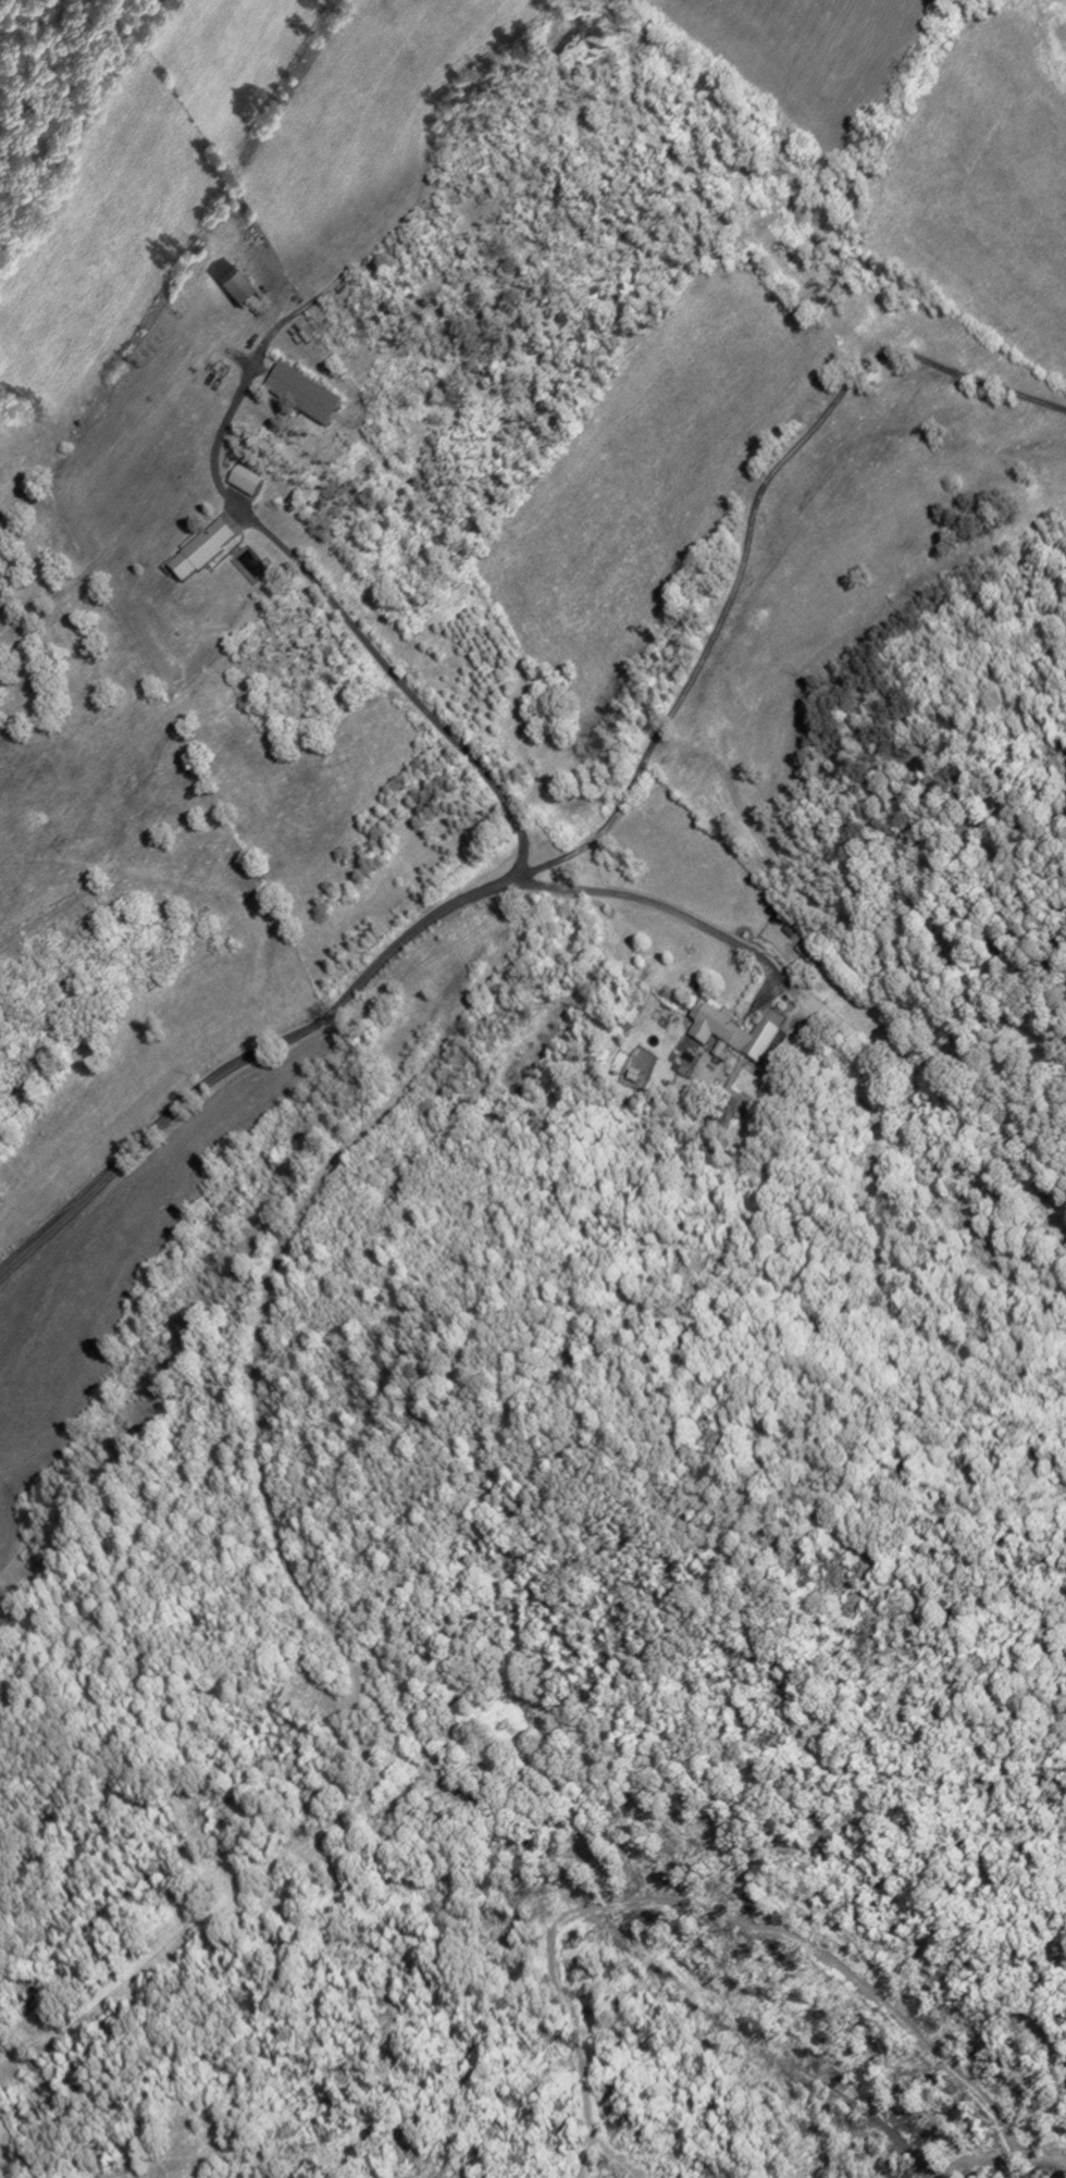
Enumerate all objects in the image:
road: (746, 539)
road: (351, 623)
road: (654, 902)
road: (244, 1056)

